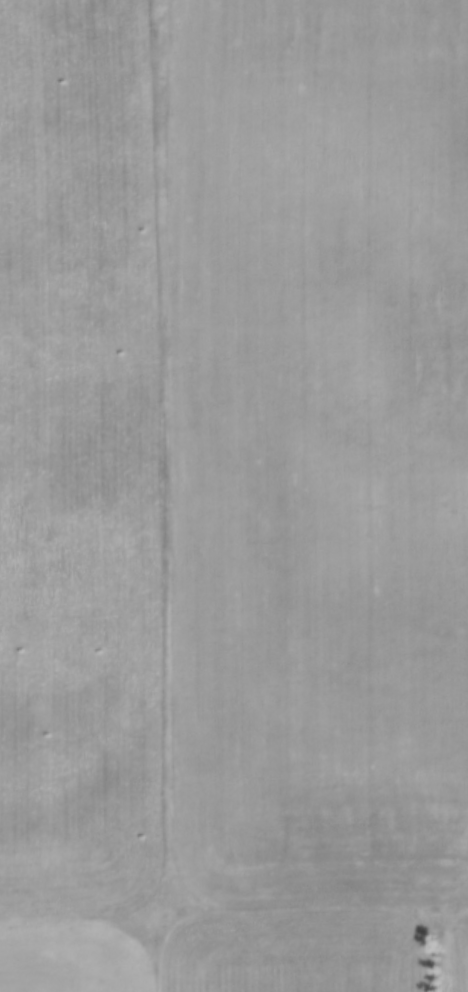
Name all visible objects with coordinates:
crop: (68, 954)

